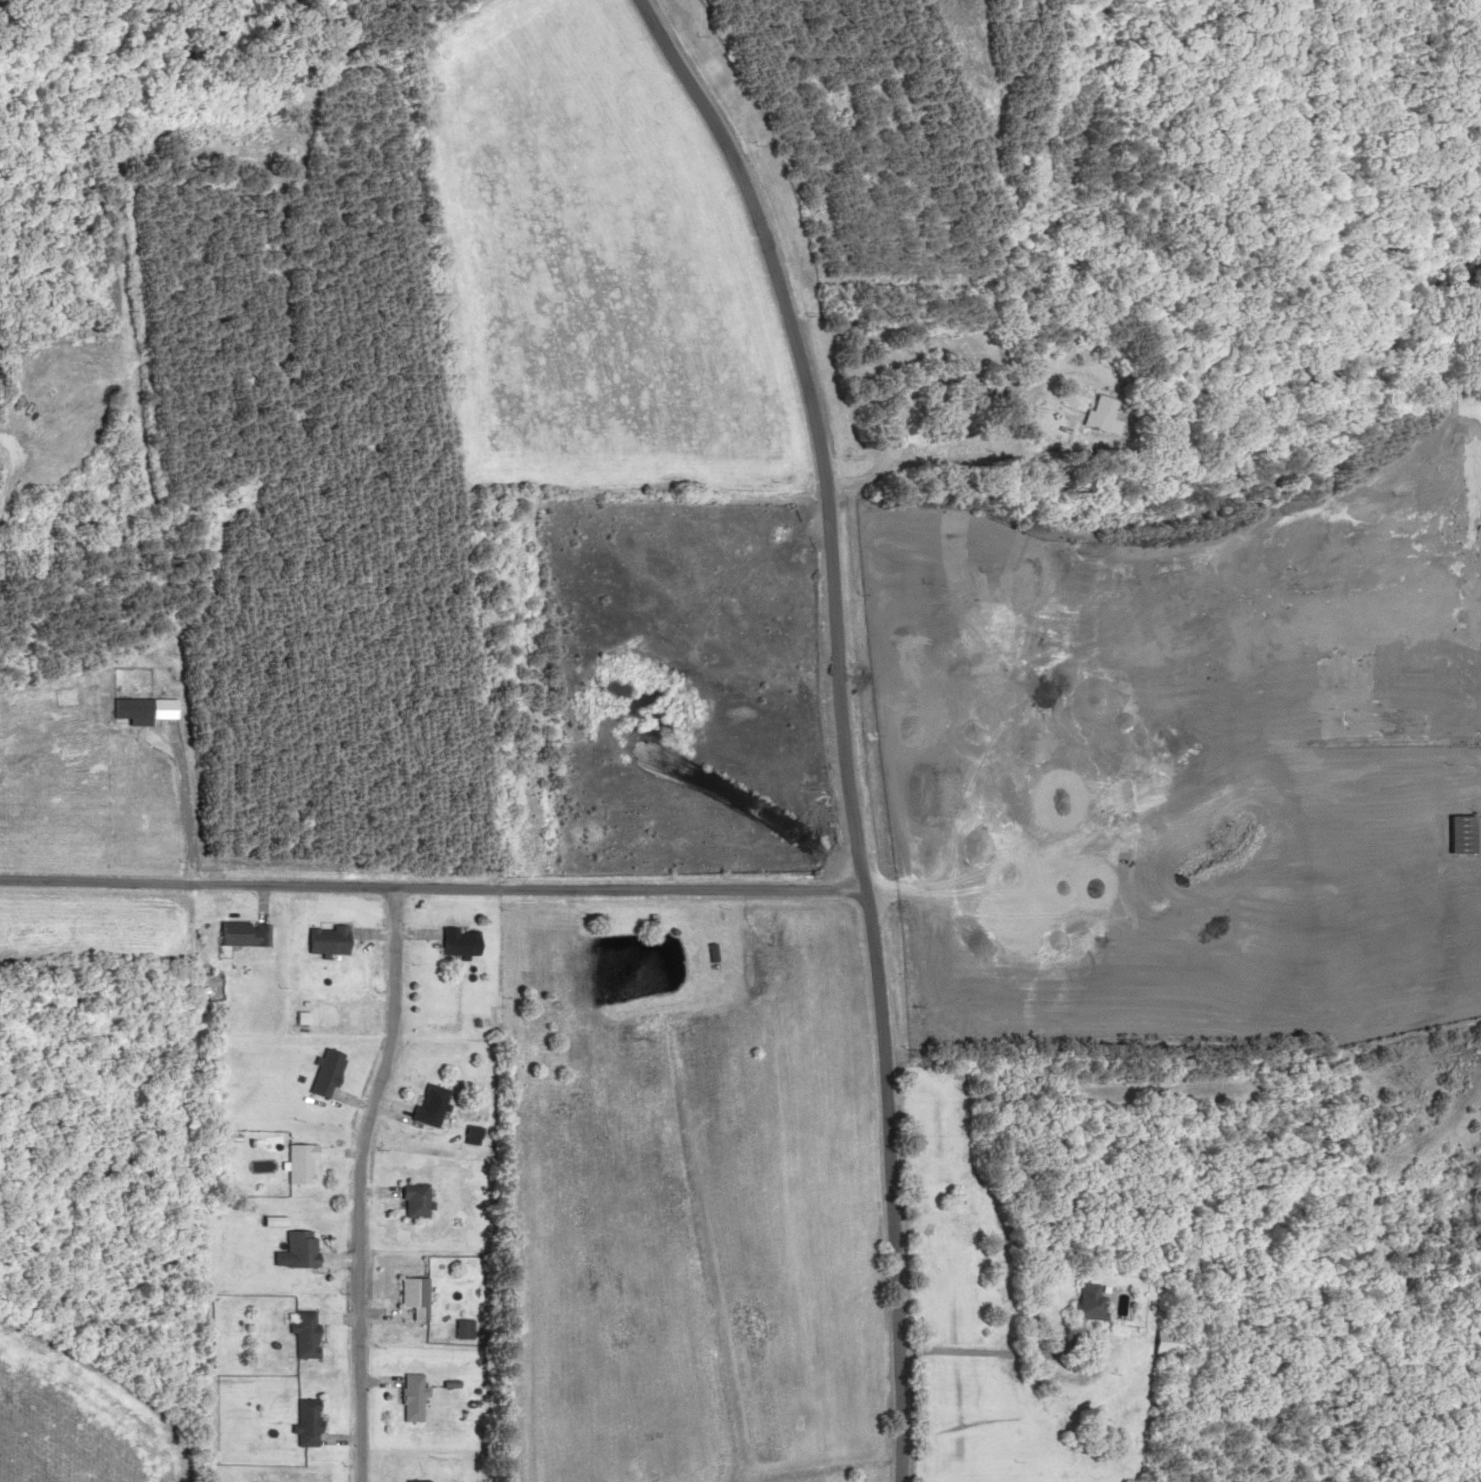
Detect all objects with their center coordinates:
building: (1100, 416)
road: (827, 718)
building: (1457, 832)
road: (421, 895)
building: (238, 935)
building: (454, 939)
building: (322, 941)
building: (322, 1071)
building: (426, 1104)
building: (472, 1130)
building: (295, 1162)
building: (954, 1198)
building: (411, 1199)
building: (295, 1247)
building: (410, 1295)
building: (1088, 1299)
building: (461, 1328)
building: (298, 1333)
building: (1166, 1342)
building: (408, 1396)
building: (298, 1422)
building: (411, 1480)

